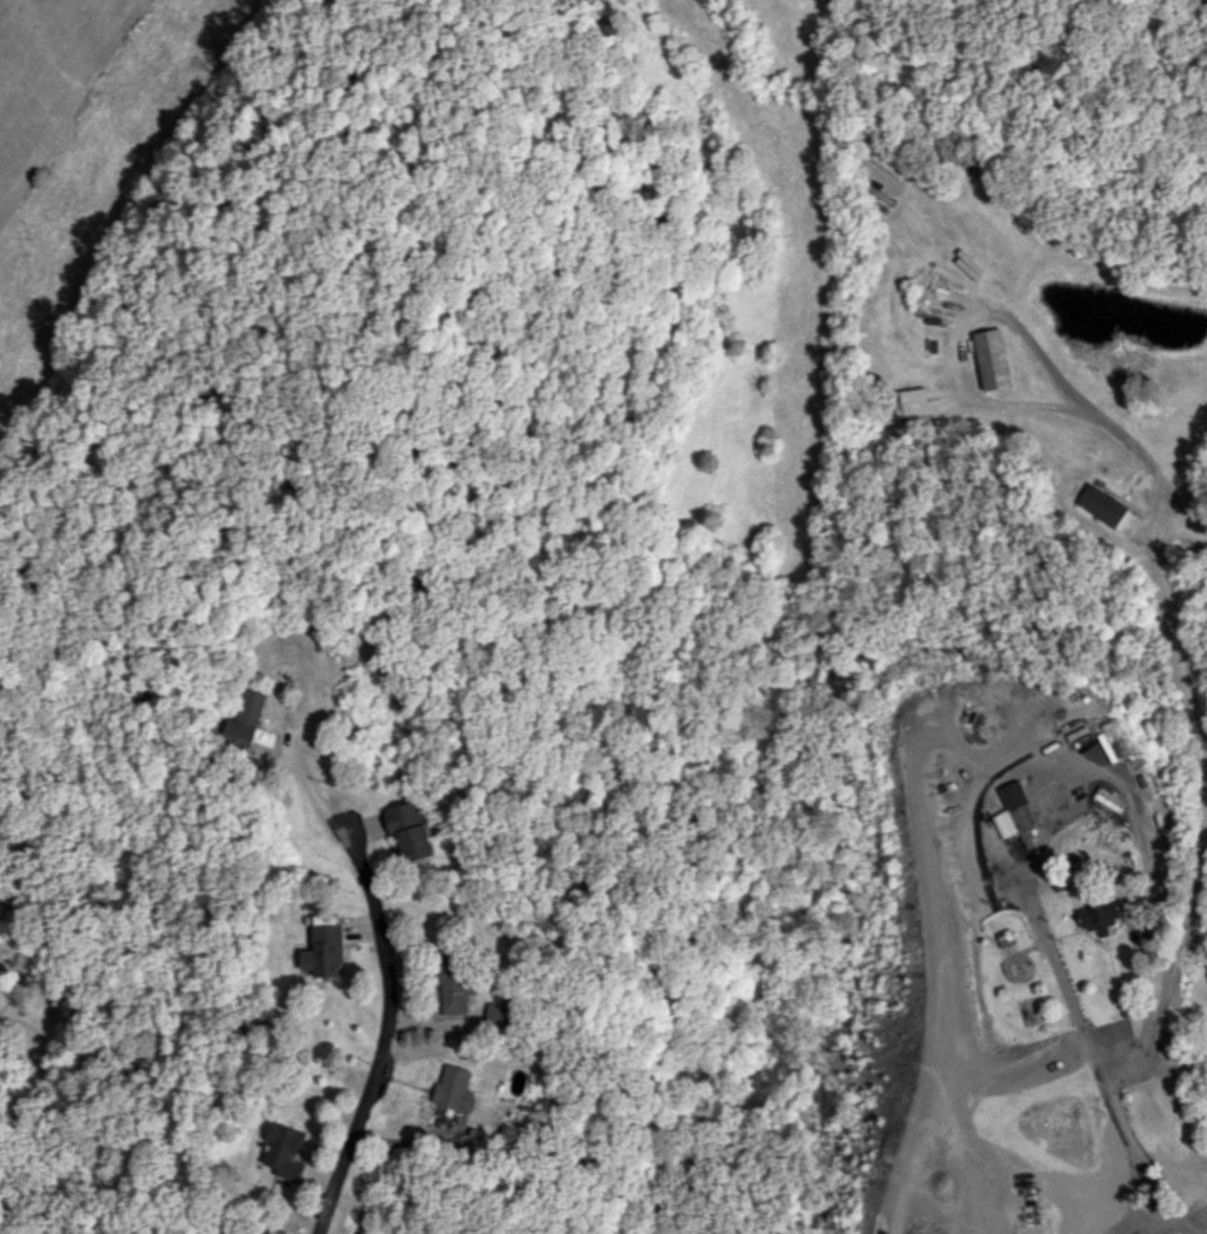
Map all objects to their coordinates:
building: (991, 358)
building: (912, 405)
building: (1108, 509)
road: (1154, 545)
building: (244, 719)
building: (1013, 811)
building: (412, 830)
building: (1098, 917)
building: (322, 951)
building: (455, 983)
road: (380, 984)
building: (502, 1016)
road: (1089, 1034)
building: (456, 1088)
road: (24, 1142)
building: (284, 1151)
road: (1161, 1221)

